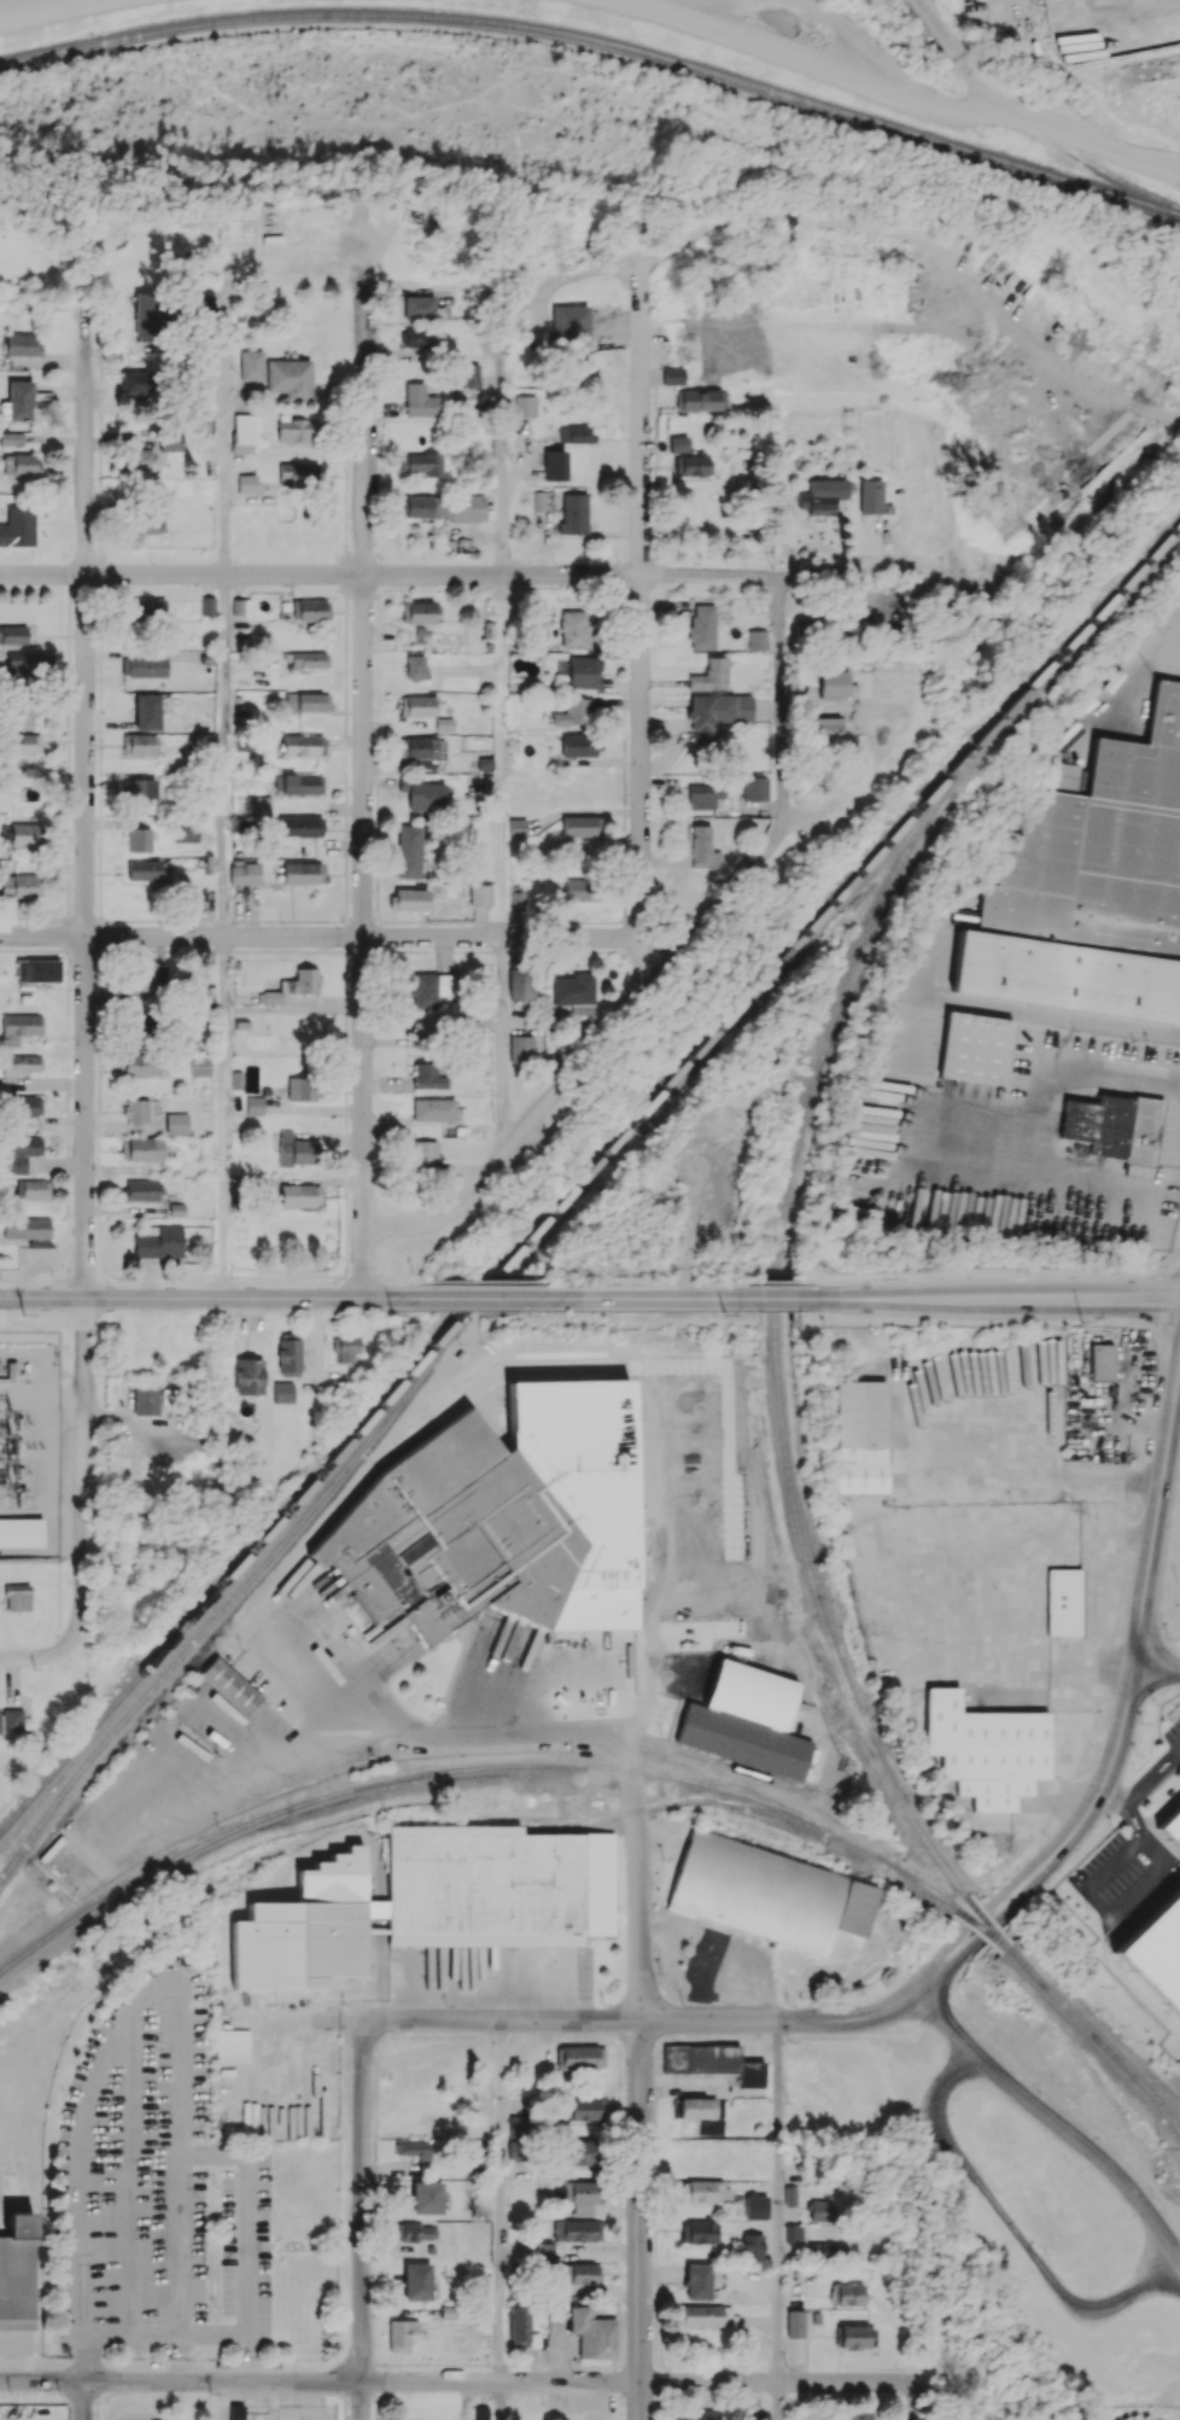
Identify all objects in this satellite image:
road: (56, 10)
railway: (598, 41)
road: (896, 86)
railway: (1035, 122)
road: (555, 279)
building: (203, 298)
building: (419, 307)
building: (148, 319)
building: (569, 323)
building: (416, 338)
building: (23, 344)
building: (251, 365)
building: (469, 374)
building: (672, 375)
building: (290, 378)
building: (136, 384)
building: (701, 400)
building: (17, 401)
building: (419, 401)
building: (525, 406)
building: (296, 428)
road: (223, 430)
building: (245, 433)
building: (574, 433)
building: (11, 438)
building: (170, 442)
building: (678, 444)
building: (142, 459)
building: (421, 462)
building: (19, 463)
building: (554, 465)
building: (691, 465)
road: (501, 466)
building: (298, 471)
building: (246, 483)
building: (822, 496)
building: (870, 496)
building: (538, 500)
building: (422, 505)
building: (468, 507)
building: (573, 513)
building: (150, 514)
building: (17, 525)
road: (389, 575)
road: (811, 575)
building: (208, 606)
building: (240, 606)
building: (144, 608)
building: (312, 610)
building: (417, 612)
road: (641, 614)
building: (805, 625)
building: (701, 626)
building: (574, 629)
building: (13, 635)
building: (757, 640)
building: (308, 659)
building: (29, 663)
building: (142, 666)
building: (414, 666)
building: (584, 671)
building: (802, 672)
building: (711, 675)
building: (835, 684)
building: (306, 701)
road: (778, 704)
building: (416, 705)
building: (146, 711)
building: (572, 712)
building: (17, 715)
building: (715, 715)
building: (444, 724)
building: (824, 727)
building: (24, 742)
building: (139, 742)
building: (303, 745)
building: (578, 745)
building: (419, 750)
road: (224, 756)
road: (503, 756)
building: (302, 783)
building: (754, 788)
building: (139, 789)
building: (422, 793)
road: (363, 794)
building: (703, 795)
building: (263, 805)
building: (516, 827)
building: (580, 827)
building: (299, 828)
building: (186, 833)
building: (19, 834)
building: (139, 839)
building: (702, 849)
building: (409, 852)
building: (144, 869)
building: (244, 871)
building: (302, 873)
building: (19, 886)
building: (1091, 886)
building: (582, 890)
building: (480, 894)
building: (516, 898)
building: (409, 899)
road: (338, 937)
building: (37, 969)
road: (83, 972)
building: (148, 975)
building: (300, 981)
building: (519, 985)
building: (430, 989)
building: (572, 989)
building: (271, 997)
building: (19, 1027)
road: (507, 1045)
building: (976, 1048)
building: (520, 1049)
road: (589, 1055)
building: (21, 1063)
building: (140, 1065)
building: (199, 1065)
building: (427, 1075)
building: (303, 1089)
road: (1036, 1095)
building: (25, 1104)
building: (253, 1104)
building: (434, 1109)
building: (136, 1110)
road: (226, 1116)
building: (176, 1124)
building: (1114, 1126)
building: (141, 1149)
building: (294, 1149)
building: (21, 1151)
building: (423, 1153)
railway: (588, 1174)
building: (33, 1188)
building: (141, 1189)
building: (299, 1195)
building: (25, 1228)
building: (159, 1241)
road: (992, 1276)
road: (396, 1278)
road: (668, 1279)
road: (493, 1282)
road: (779, 1282)
road: (680, 1284)
road: (204, 1299)
railway: (778, 1299)
road: (489, 1300)
road: (653, 1300)
road: (783, 1300)
road: (1004, 1300)
power tower: (23, 1316)
building: (345, 1347)
building: (288, 1354)
building: (1102, 1361)
building: (249, 1376)
building: (284, 1392)
building: (146, 1398)
building: (860, 1436)
power substation: (31, 1448)
road: (1044, 1473)
building: (21, 1532)
building: (451, 1535)
road: (1117, 1535)
road: (1168, 1557)
road: (992, 1585)
building: (17, 1597)
railway: (234, 1598)
building: (1063, 1602)
railway: (788, 1604)
road: (1104, 1604)
road: (36, 1657)
road: (1092, 1672)
road: (1157, 1674)
building: (229, 1685)
road: (1127, 1710)
building: (11, 1721)
building: (746, 1721)
road: (438, 1734)
parking lot: (1173, 1734)
building: (988, 1749)
road: (1176, 1753)
road: (1173, 1756)
railway: (630, 1768)
road: (1129, 1794)
railway: (706, 1800)
road: (1124, 1802)
road: (635, 1806)
railway: (288, 1807)
road: (294, 1814)
railway: (808, 1819)
building: (1173, 1819)
road: (1139, 1830)
road: (1081, 1856)
railway: (831, 1865)
parking lot: (1126, 1876)
building: (769, 1894)
building: (431, 1901)
road: (1111, 1908)
railway: (986, 1922)
railway: (974, 1923)
railway: (981, 1926)
building: (1156, 1946)
railway: (1026, 1965)
road: (135, 2001)
road: (508, 2019)
road: (790, 2020)
railway: (1097, 2040)
building: (579, 2057)
building: (713, 2062)
railway: (1135, 2077)
building: (588, 2109)
road: (1053, 2119)
building: (519, 2133)
building: (414, 2150)
building: (580, 2152)
building: (703, 2189)
building: (578, 2196)
building: (790, 2196)
building: (426, 2197)
road: (502, 2200)
road: (779, 2200)
building: (755, 2206)
building: (819, 2210)
road: (641, 2220)
road: (361, 2221)
building: (577, 2229)
road: (1018, 2229)
building: (419, 2232)
building: (700, 2232)
building: (794, 2233)
building: (752, 2246)
building: (825, 2249)
building: (542, 2251)
building: (16, 2272)
building: (578, 2273)
building: (416, 2281)
road: (246, 2290)
building: (847, 2293)
building: (707, 2315)
building: (795, 2323)
building: (521, 2327)
building: (592, 2333)
building: (401, 2334)
building: (853, 2337)
road: (320, 2380)
road: (778, 2381)
road: (83, 2399)
road: (221, 2399)
road: (501, 2401)
road: (779, 2401)
road: (917, 2403)
building: (235, 2412)
building: (699, 2415)

